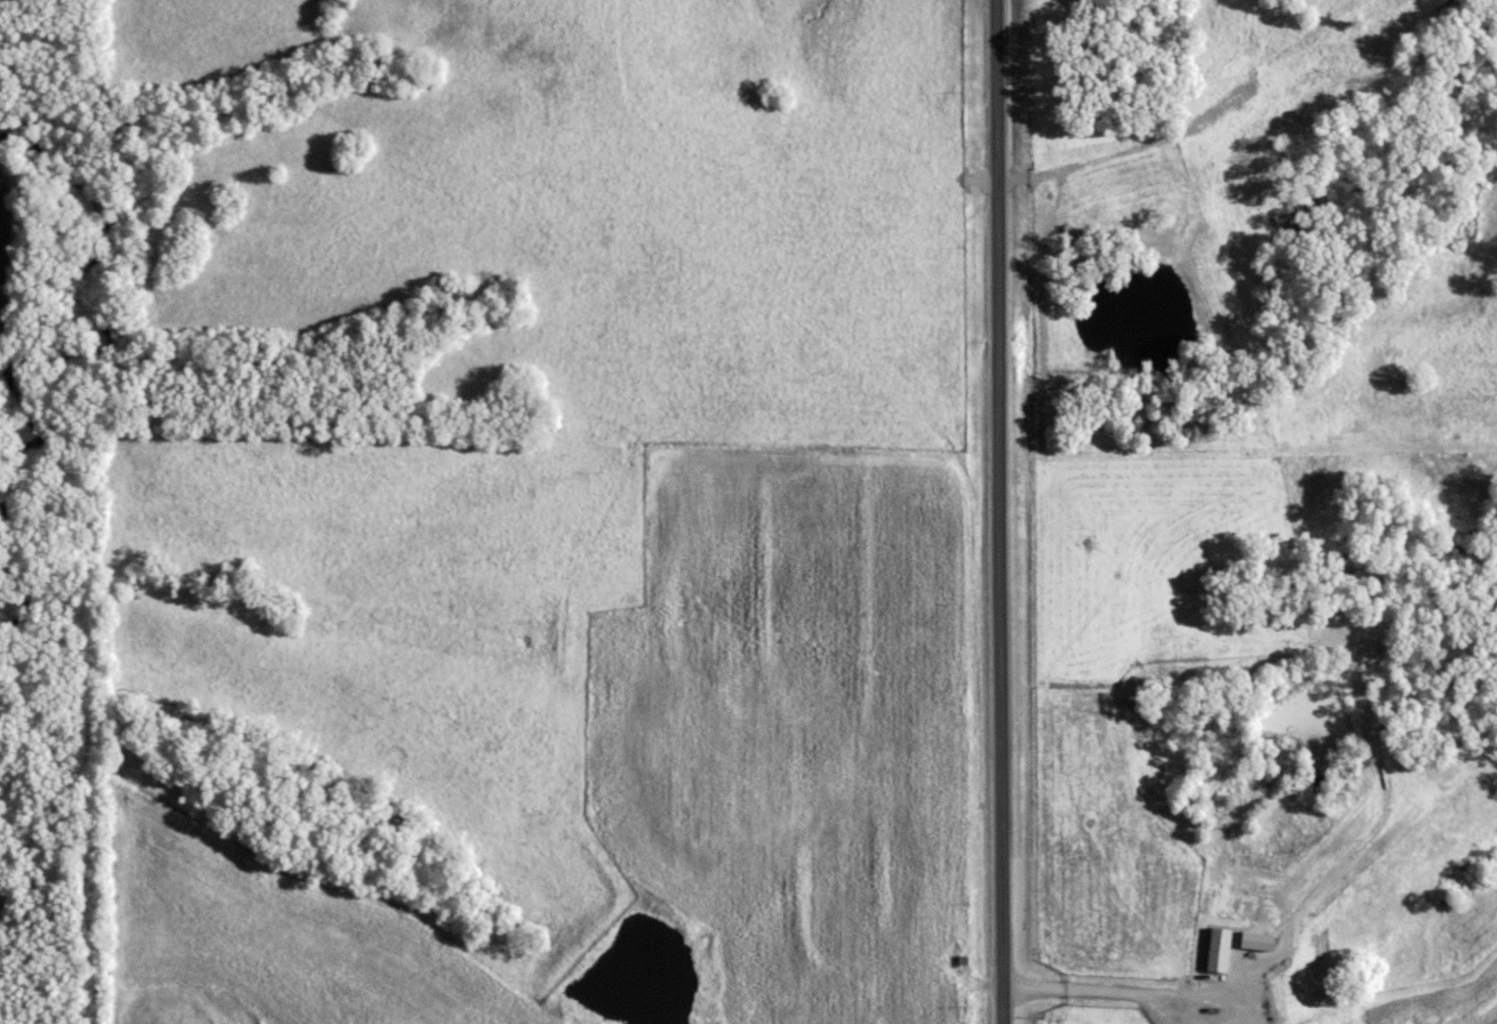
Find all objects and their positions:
road: (1003, 511)
building: (1192, 969)

